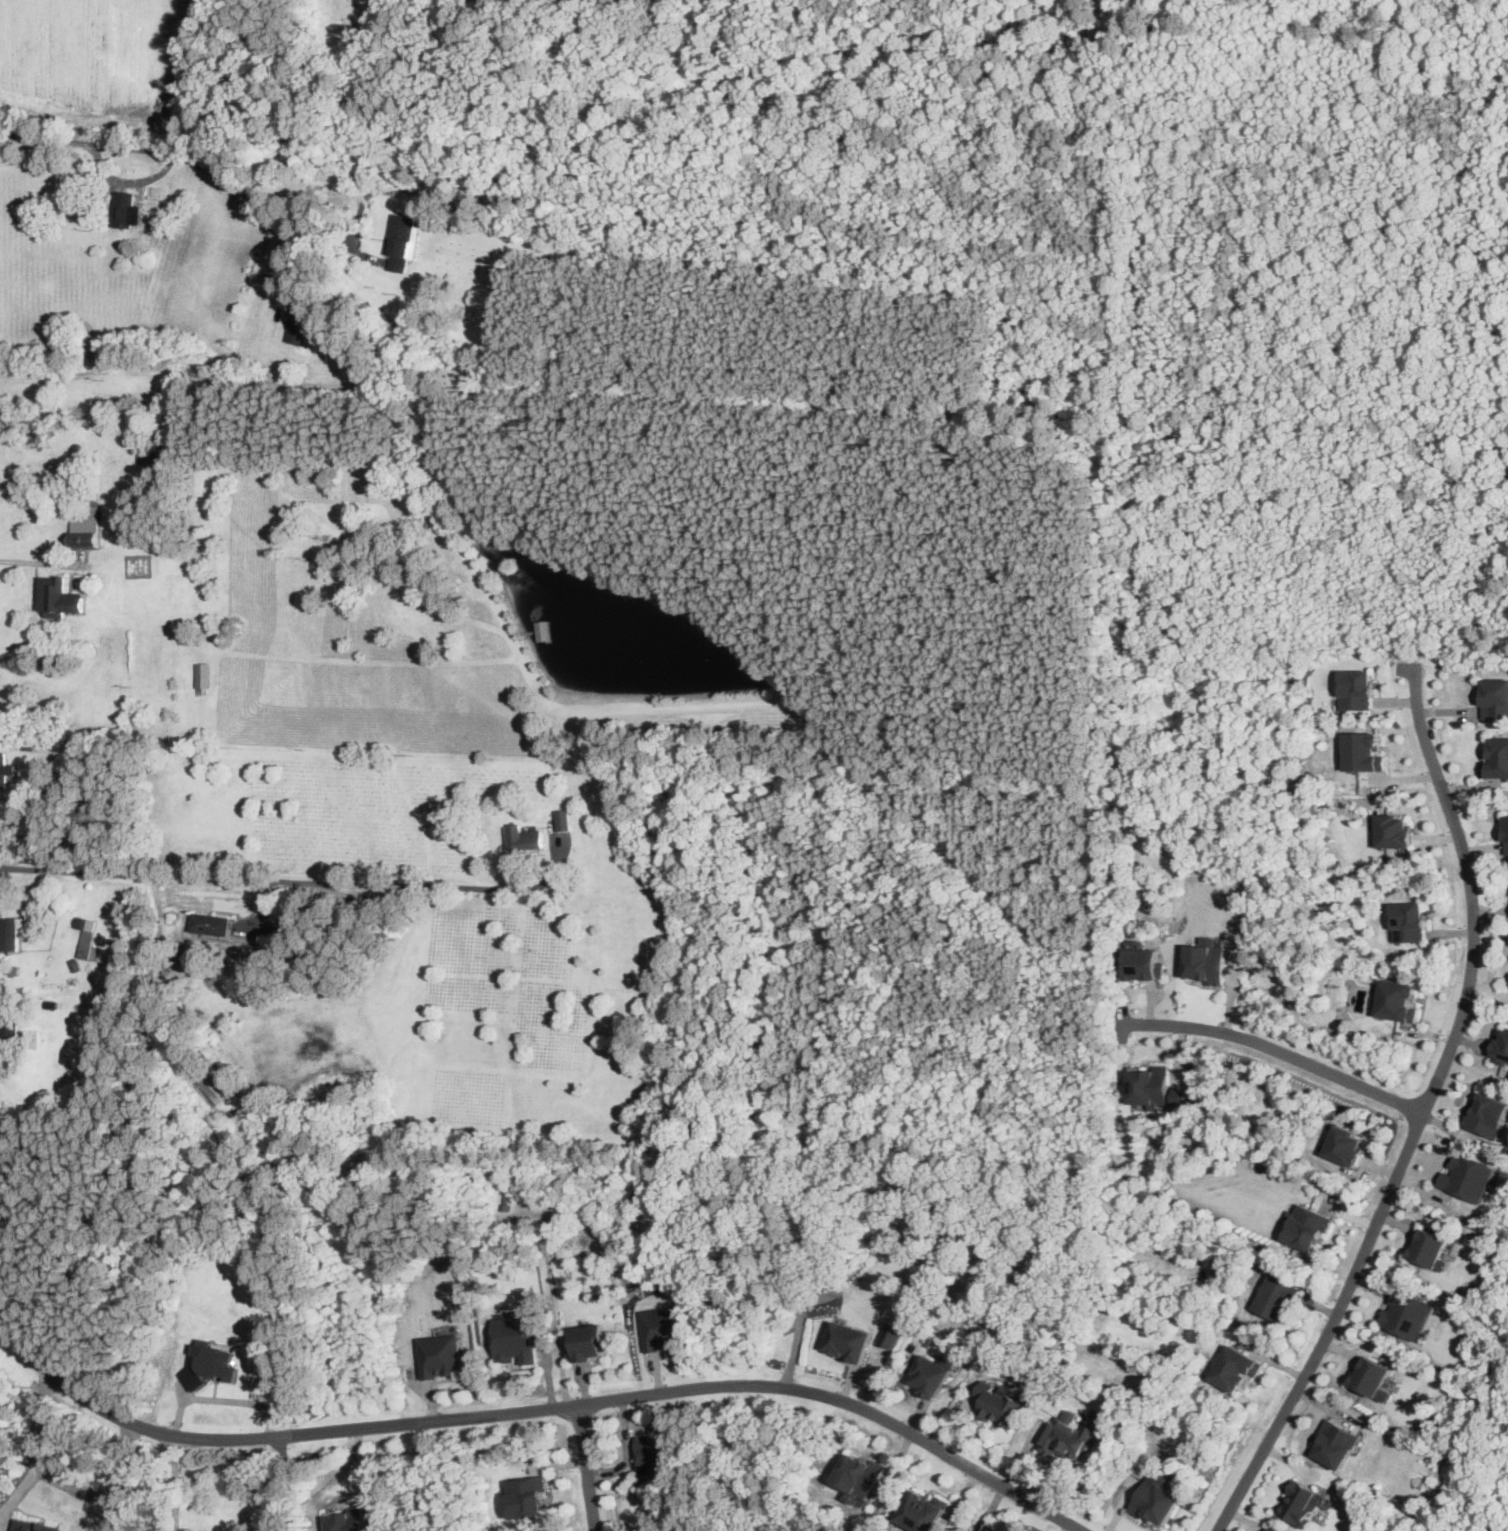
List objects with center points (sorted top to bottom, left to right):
crop: (1357, 7)
road: (165, 152)
building: (126, 210)
building: (403, 241)
building: (468, 314)
building: (298, 328)
building: (380, 371)
road: (74, 377)
building: (162, 452)
building: (70, 473)
building: (86, 529)
road: (39, 562)
building: (59, 598)
building: (546, 631)
building: (203, 676)
building: (1357, 688)
building: (1494, 696)
building: (49, 699)
building: (1363, 751)
building: (1495, 757)
building: (5, 769)
building: (563, 818)
building: (1393, 831)
building: (1506, 833)
building: (522, 836)
road: (265, 879)
building: (1408, 920)
building: (211, 922)
building: (10, 931)
building: (86, 936)
building: (1206, 961)
building: (1142, 962)
building: (1398, 1000)
building: (9, 1030)
road: (1276, 1047)
building: (1501, 1048)
building: (1149, 1084)
building: (215, 1085)
building: (1181, 1096)
road: (1421, 1114)
building: (1488, 1114)
building: (1345, 1145)
building: (1468, 1176)
building: (1307, 1226)
building: (1430, 1247)
road: (555, 1297)
building: (1279, 1298)
building: (1407, 1314)
road: (800, 1321)
building: (662, 1327)
building: (891, 1334)
building: (515, 1338)
building: (849, 1340)
building: (588, 1342)
building: (439, 1355)
building: (209, 1364)
building: (1237, 1369)
building: (931, 1375)
building: (1373, 1377)
road: (221, 1399)
building: (1001, 1403)
road: (537, 1407)
building: (1068, 1434)
building: (1336, 1443)
road: (629, 1450)
road: (39, 1454)
building: (656, 1455)
road: (587, 1466)
building: (860, 1476)
road: (178, 1481)
road: (291, 1481)
building: (527, 1495)
road: (110, 1497)
building: (1156, 1499)
building: (1305, 1502)
building: (924, 1511)
building: (344, 1520)
building: (35, 1525)
building: (1272, 1528)
building: (992, 1529)

